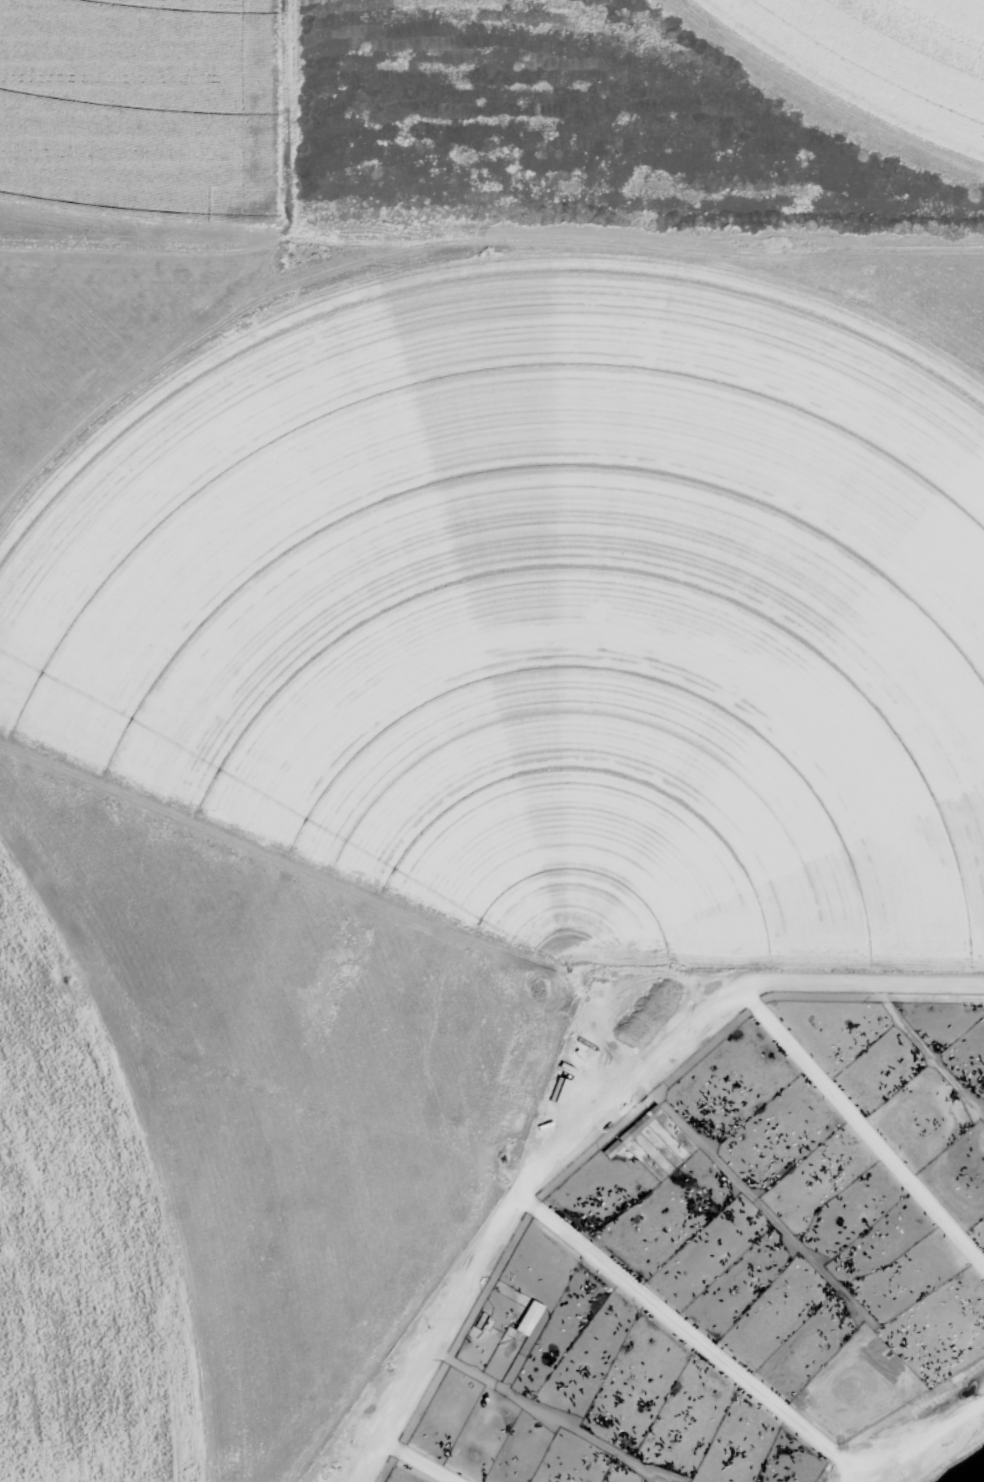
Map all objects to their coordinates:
road: (279, 258)
road: (916, 1444)

